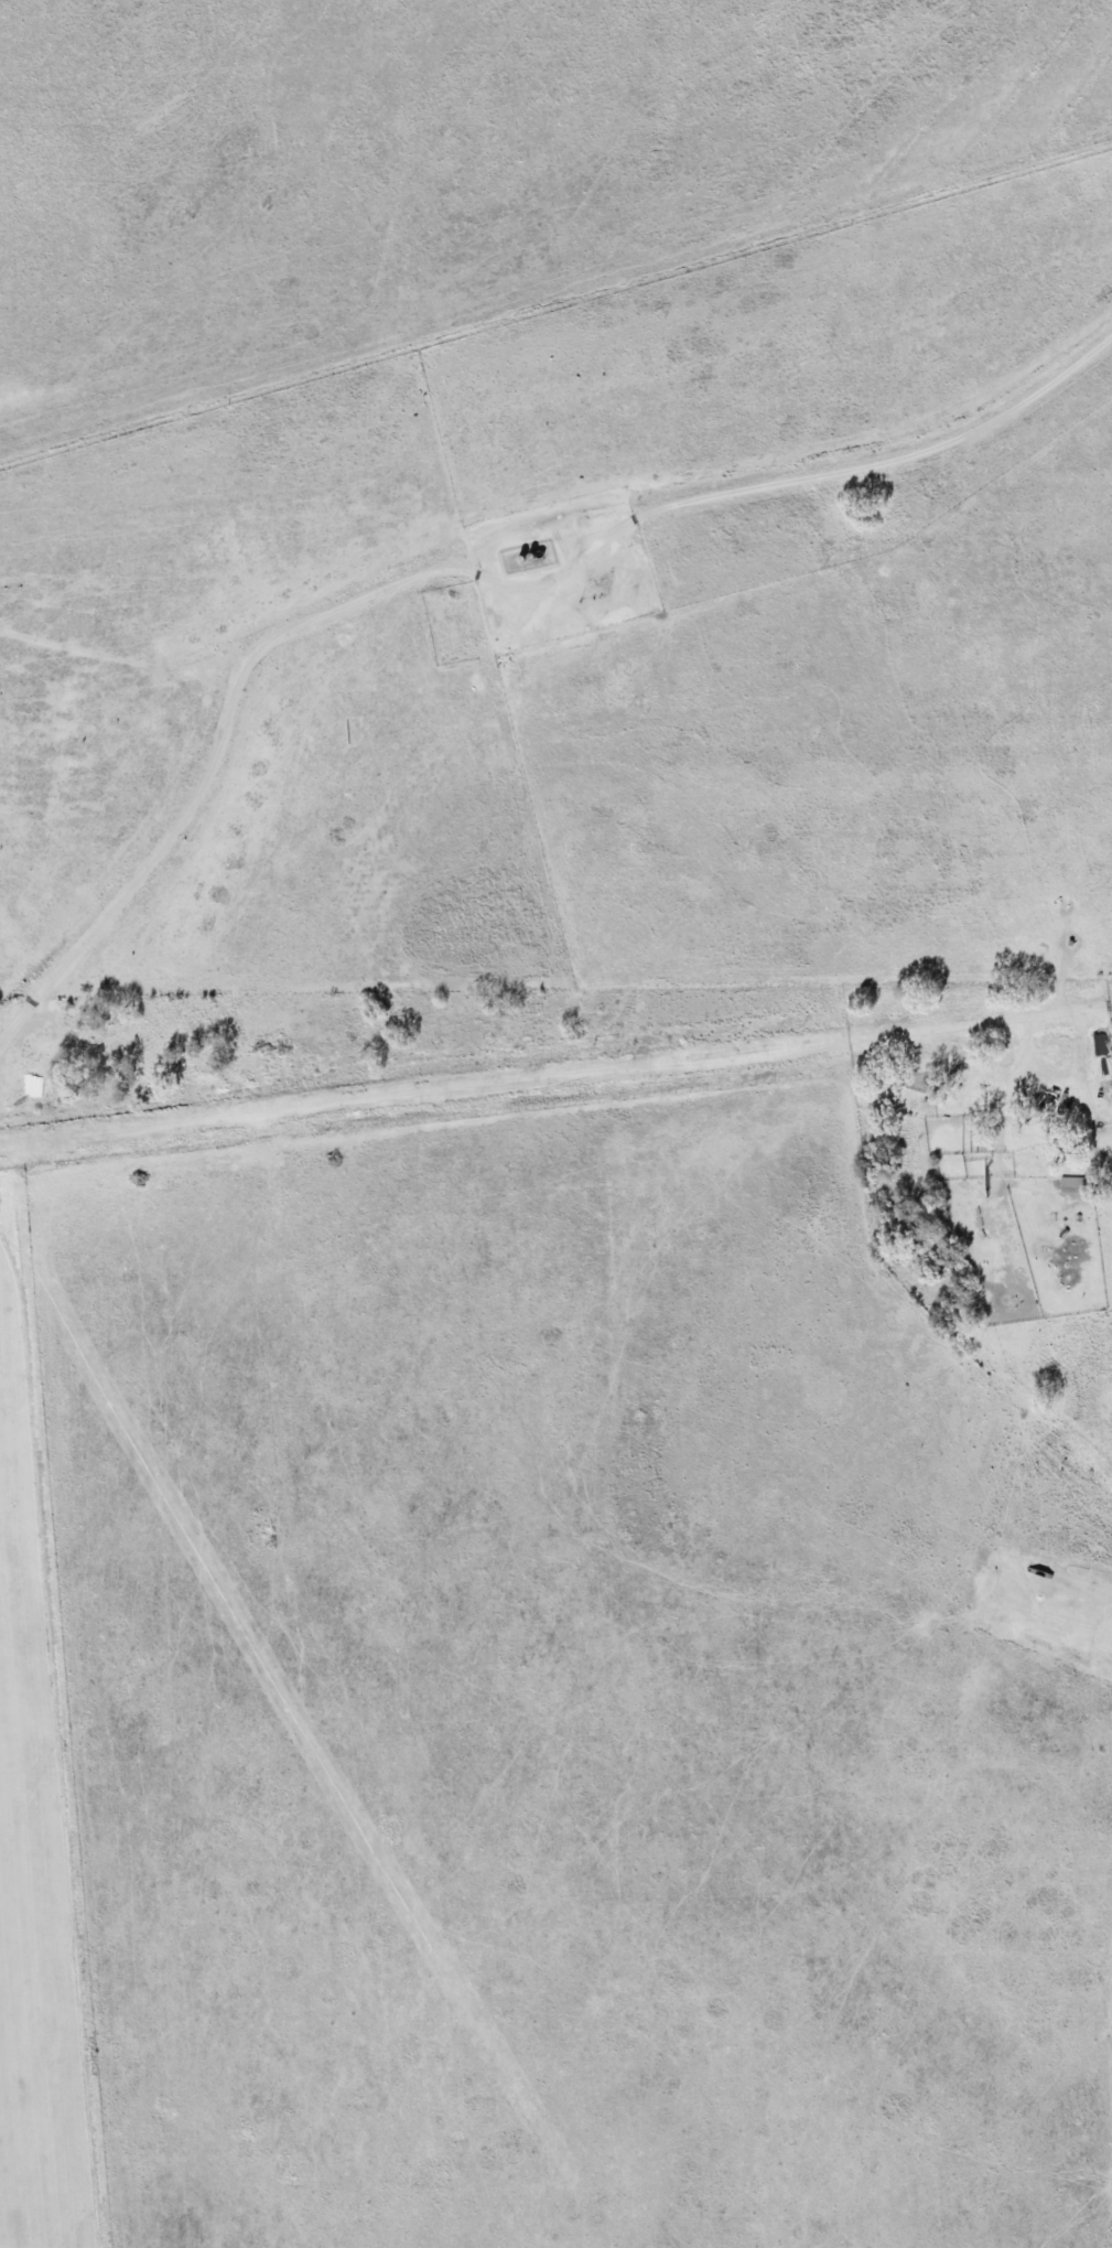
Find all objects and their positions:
road: (209, 746)
building: (1045, 1053)
road: (555, 1069)
road: (1007, 1080)

